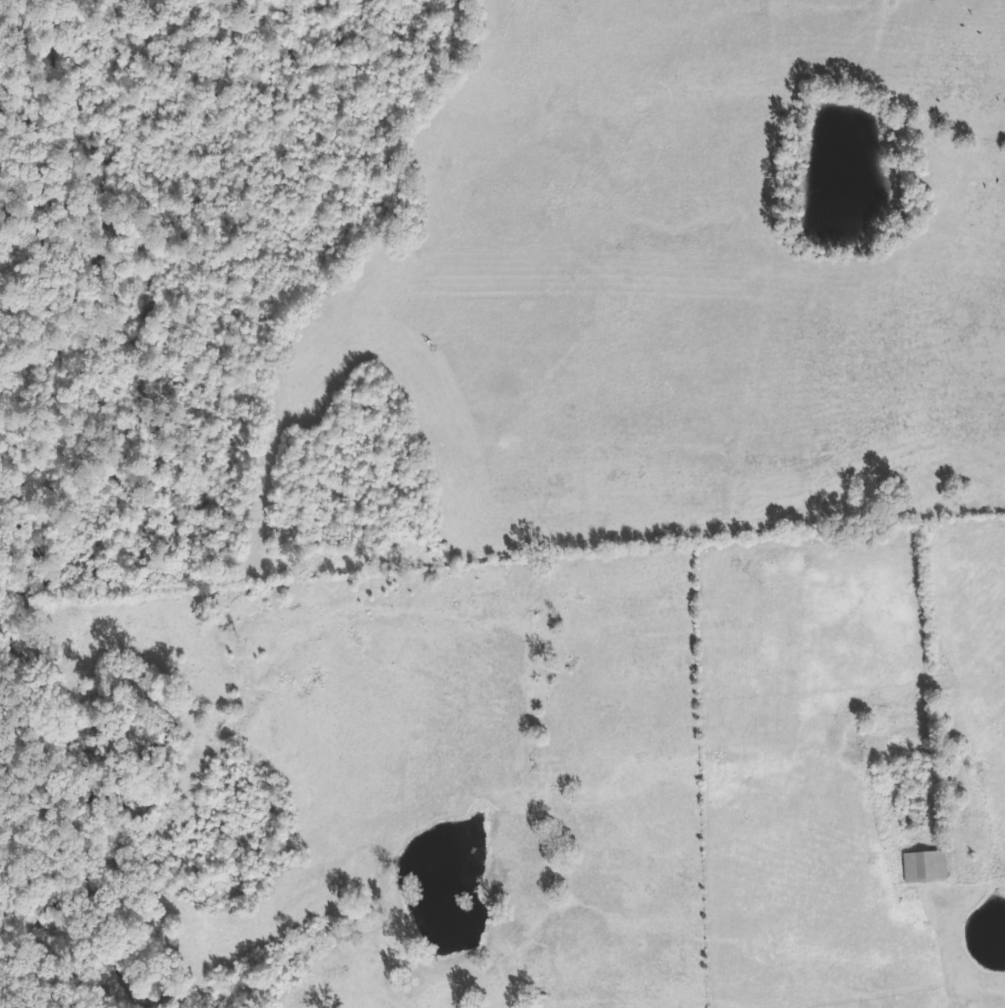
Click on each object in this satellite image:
building: (922, 866)

